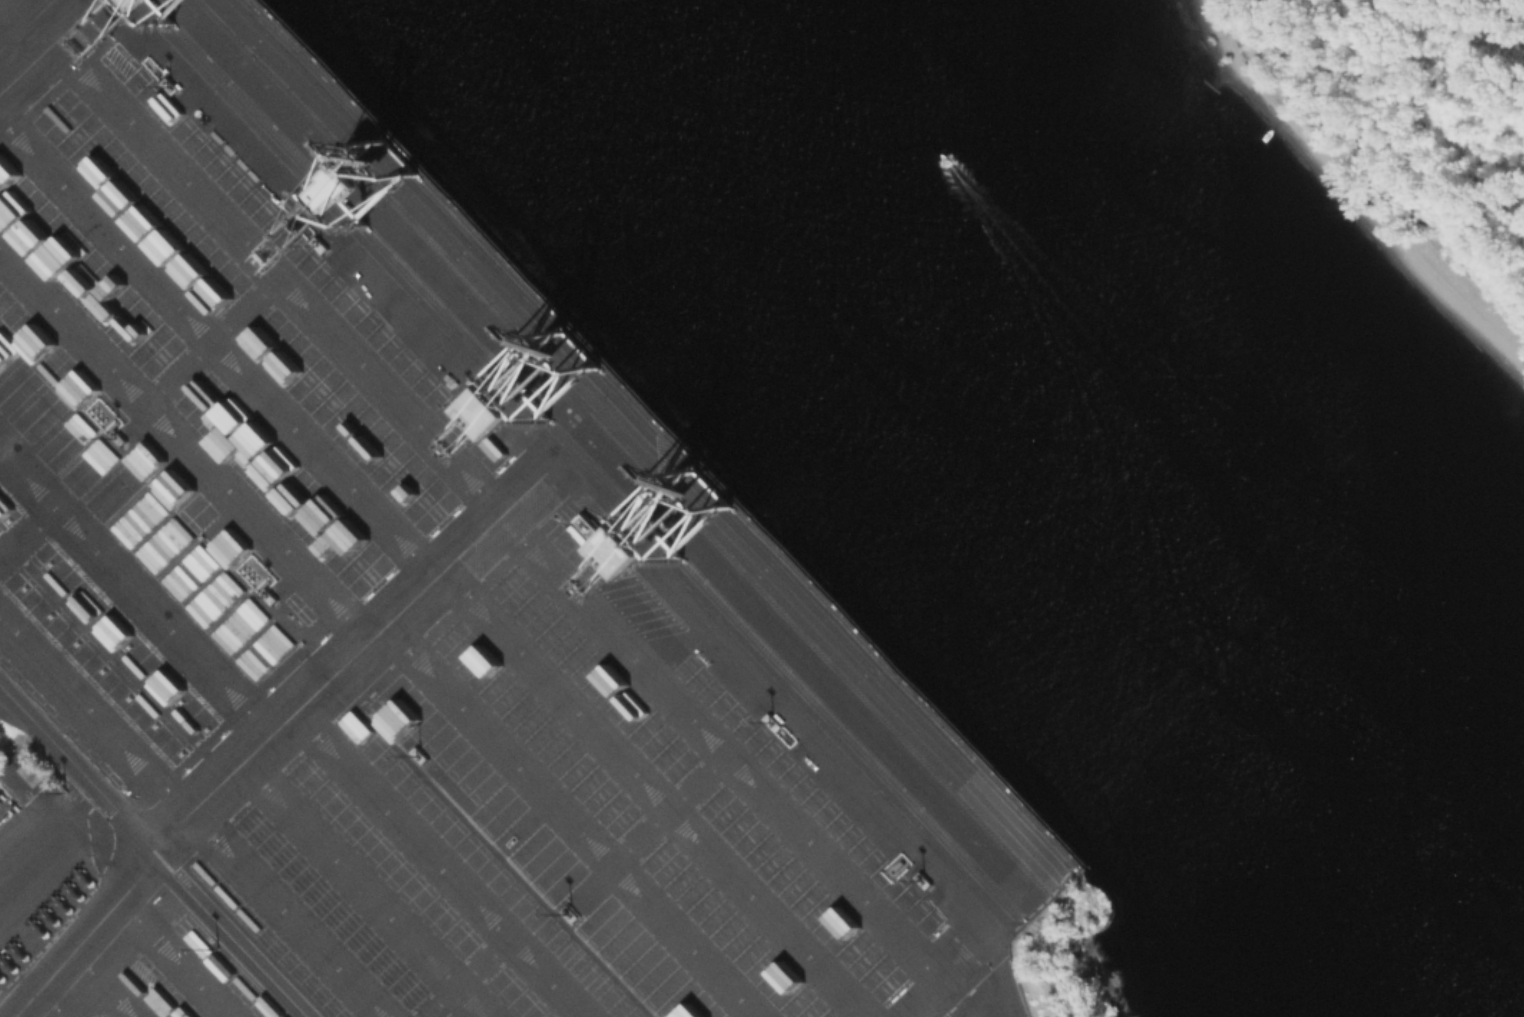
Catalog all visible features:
road: (1458, 29)
road: (40, 54)
building: (170, 86)
building: (321, 245)
building: (472, 404)
building: (81, 427)
railway: (663, 433)
building: (120, 438)
railway: (622, 448)
river: (1208, 472)
road: (498, 511)
building: (597, 534)
building: (622, 563)
railway: (691, 575)
building: (271, 596)
building: (773, 722)
road: (270, 735)
building: (8, 747)
building: (421, 755)
road: (79, 770)
building: (761, 860)
road: (29, 875)
building: (924, 880)
building: (572, 914)
road: (178, 957)
road: (939, 985)
road: (926, 1010)

